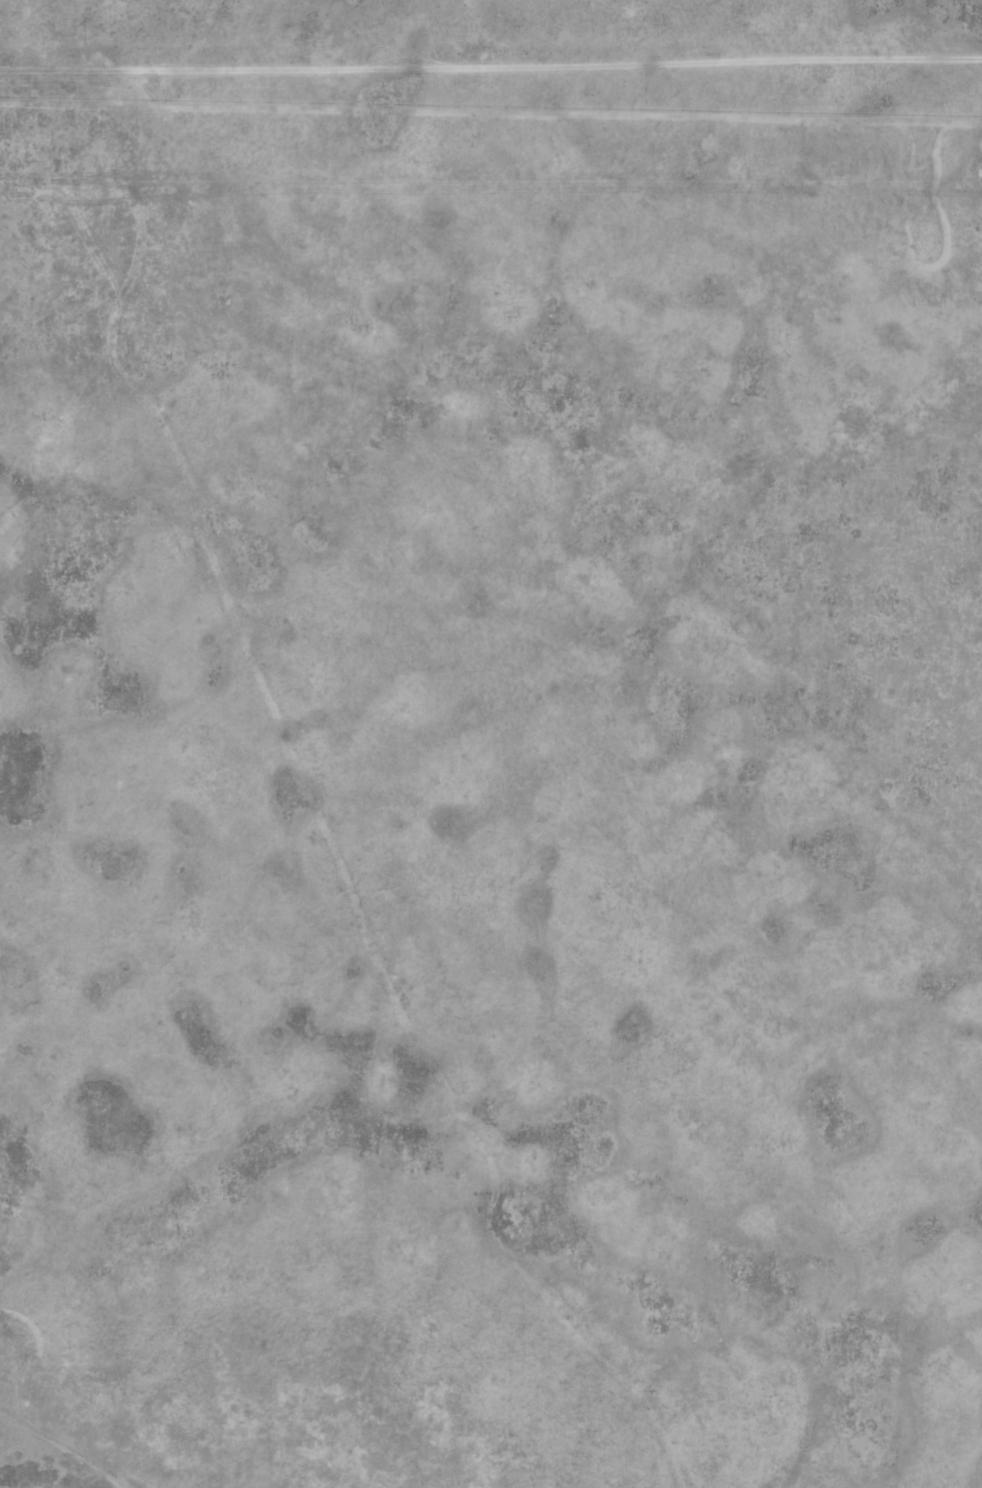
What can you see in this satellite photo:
road: (491, 5)

